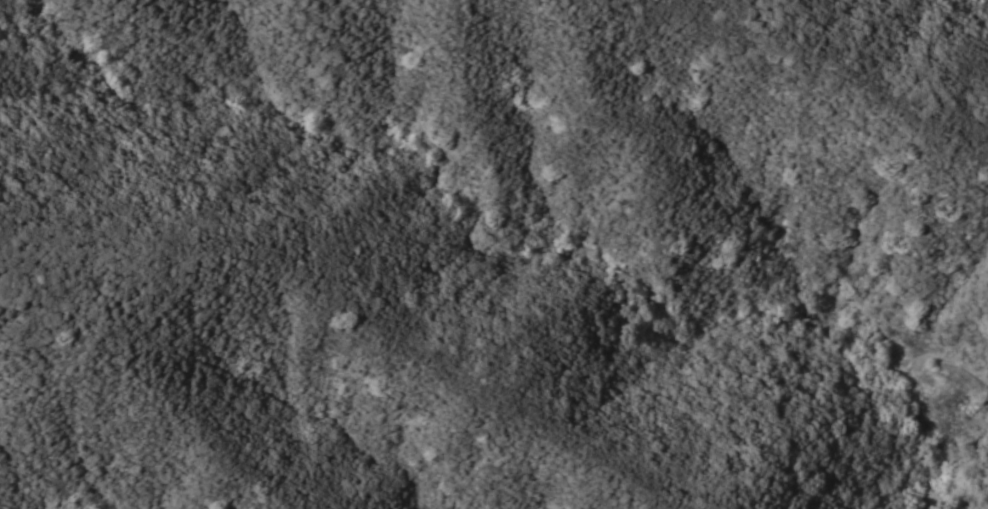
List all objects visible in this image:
road: (973, 365)

